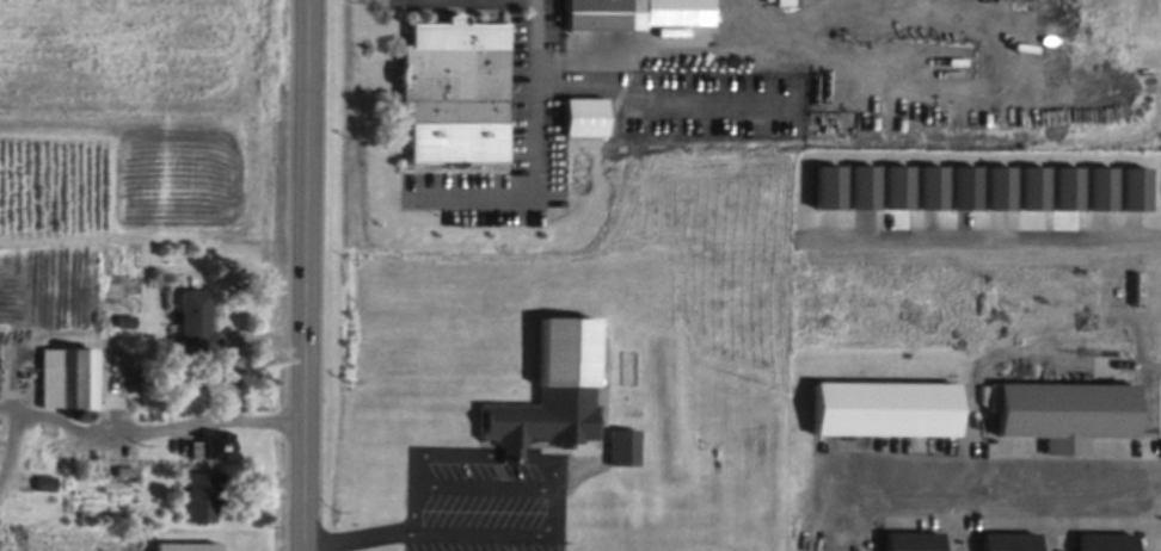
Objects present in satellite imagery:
building: (637, 10)
building: (455, 66)
building: (585, 110)
road: (536, 147)
building: (929, 187)
building: (964, 187)
building: (999, 187)
building: (1033, 187)
building: (1065, 188)
building: (1100, 188)
building: (1134, 188)
road: (991, 234)
road: (301, 274)
building: (127, 317)
building: (197, 317)
road: (235, 352)
building: (68, 371)
building: (105, 379)
building: (553, 386)
building: (884, 401)
building: (158, 403)
building: (1065, 407)
building: (81, 414)
road: (148, 432)
building: (48, 440)
building: (211, 440)
building: (627, 442)
road: (12, 451)
building: (121, 462)
building: (134, 464)
road: (1007, 477)
building: (47, 479)
road: (555, 488)
building: (203, 490)
road: (358, 538)
building: (913, 538)
building: (1009, 539)
building: (1106, 539)
building: (186, 544)

